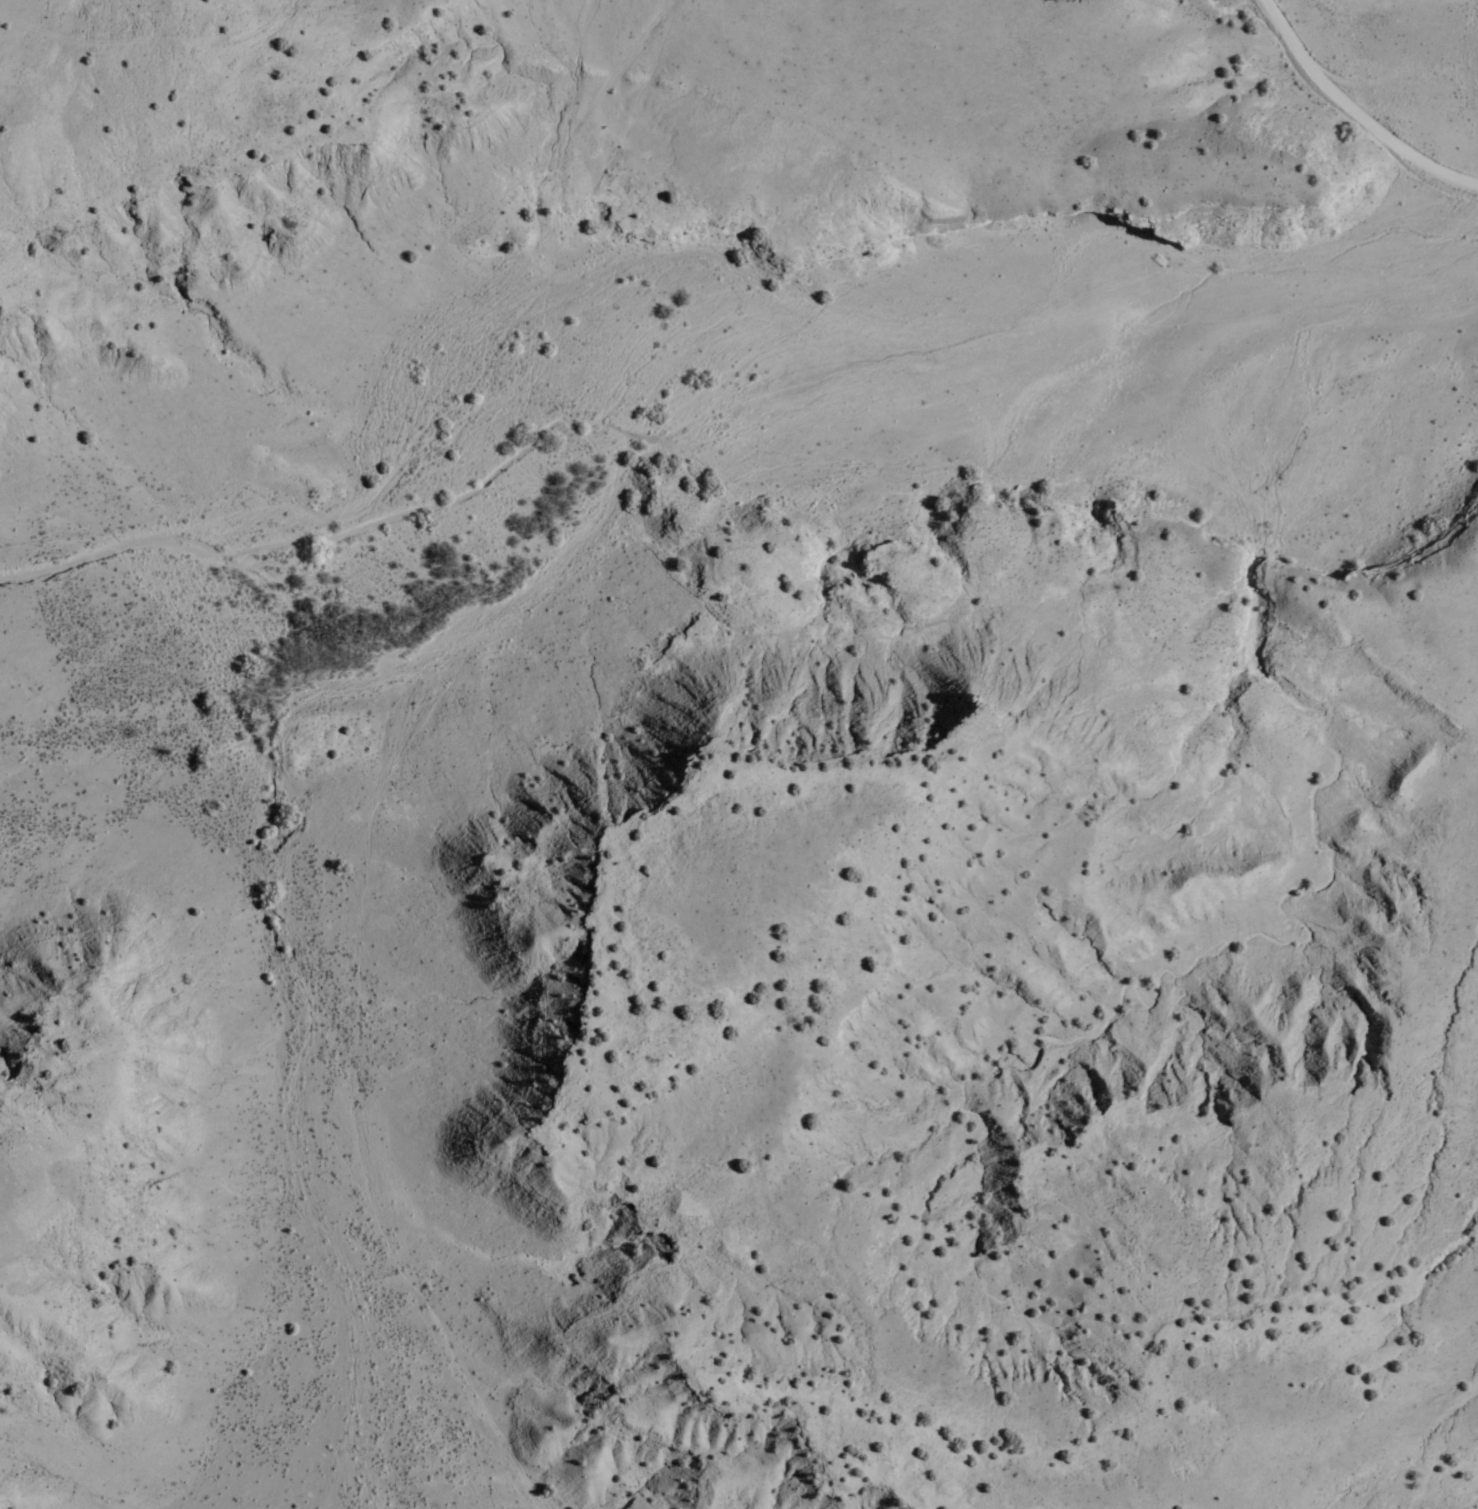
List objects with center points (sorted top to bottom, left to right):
road: (1356, 109)

